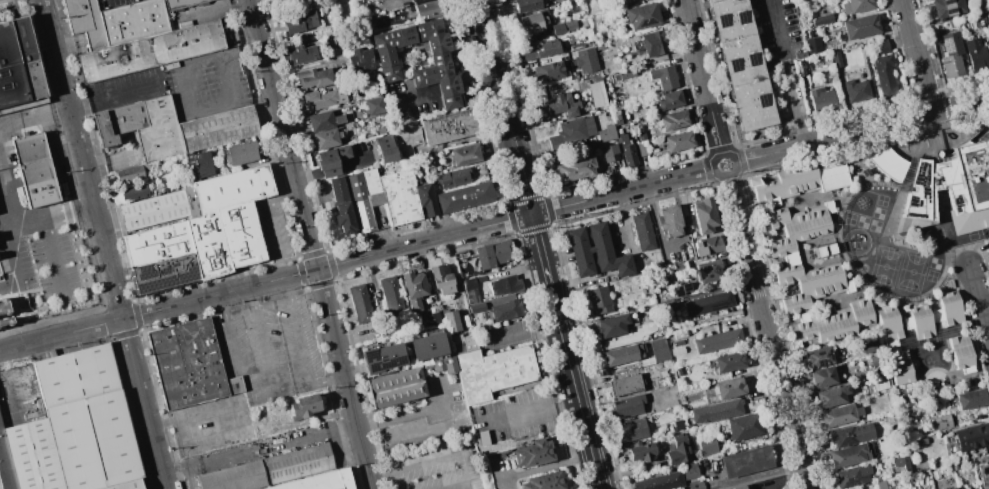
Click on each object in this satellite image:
building: (418, 1)
rooftop solar panel: (950, 3)
building: (182, 4)
building: (529, 4)
building: (982, 4)
building: (859, 6)
building: (948, 7)
building: (428, 9)
rooftop solar panel: (951, 9)
building: (988, 14)
building: (642, 15)
rooftop solar panel: (742, 15)
rooftop solar panel: (738, 17)
building: (823, 19)
building: (299, 20)
building: (535, 20)
rooftop solar panel: (722, 20)
building: (981, 20)
building: (85, 21)
building: (132, 21)
building: (862, 26)
building: (563, 27)
parking lot: (780, 30)
building: (653, 43)
building: (813, 45)
building: (882, 47)
building: (975, 48)
building: (539, 49)
building: (150, 50)
building: (300, 53)
road: (917, 56)
building: (439, 58)
rooftop solar panel: (752, 59)
building: (838, 59)
building: (360, 60)
building: (742, 63)
building: (18, 64)
building: (884, 64)
rooftop solar panel: (735, 65)
building: (952, 66)
building: (803, 67)
building: (547, 72)
road: (787, 72)
building: (627, 74)
road: (496, 75)
building: (616, 76)
building: (314, 77)
building: (664, 77)
road: (703, 77)
road: (187, 90)
building: (858, 90)
road: (114, 96)
building: (324, 98)
building: (669, 99)
building: (822, 99)
rooftop solar panel: (761, 101)
building: (561, 104)
building: (375, 105)
building: (621, 105)
building: (615, 114)
building: (674, 119)
building: (323, 120)
building: (142, 126)
building: (448, 126)
building: (217, 128)
road: (861, 130)
building: (571, 131)
building: (606, 132)
building: (641, 135)
building: (326, 138)
building: (678, 141)
building: (386, 148)
building: (626, 149)
building: (609, 152)
building: (241, 153)
building: (464, 155)
road: (733, 158)
building: (331, 160)
building: (428, 160)
building: (201, 163)
building: (888, 163)
building: (575, 168)
building: (34, 170)
building: (129, 173)
rooftop solar panel: (977, 174)
building: (908, 176)
building: (452, 177)
building: (833, 177)
building: (370, 181)
road: (523, 182)
building: (783, 184)
building: (356, 186)
building: (954, 188)
building: (338, 190)
building: (136, 191)
building: (399, 196)
building: (464, 196)
building: (374, 198)
building: (425, 198)
traffic signals: (532, 214)
building: (363, 215)
building: (704, 215)
building: (344, 217)
road: (50, 219)
building: (669, 220)
road: (499, 222)
road: (272, 223)
building: (194, 230)
building: (643, 230)
road: (674, 241)
road: (104, 244)
road: (311, 244)
building: (707, 245)
road: (541, 248)
building: (824, 249)
building: (595, 252)
building: (492, 253)
building: (790, 255)
road: (12, 257)
road: (56, 257)
rooftop solar panel: (176, 265)
building: (678, 267)
park: (886, 267)
building: (707, 270)
rooftop solar panel: (165, 271)
rooftop solar panel: (145, 272)
park: (913, 272)
building: (441, 278)
rooftop solar panel: (167, 283)
building: (504, 285)
building: (681, 288)
building: (414, 289)
road: (288, 290)
building: (470, 290)
building: (390, 294)
road: (252, 298)
building: (599, 299)
road: (979, 300)
building: (360, 302)
building: (708, 303)
road: (222, 307)
building: (476, 307)
building: (950, 307)
building: (506, 310)
building: (4, 312)
road: (142, 314)
building: (936, 316)
building: (451, 321)
building: (831, 322)
building: (920, 322)
building: (665, 324)
building: (890, 324)
building: (611, 325)
road: (521, 331)
road: (769, 331)
road: (263, 337)
building: (718, 340)
building: (469, 342)
building: (457, 343)
building: (868, 343)
road: (301, 344)
building: (427, 347)
building: (677, 350)
building: (656, 352)
building: (961, 353)
building: (623, 354)
rooftop solar panel: (369, 355)
building: (820, 355)
building: (382, 358)
building: (874, 360)
road: (237, 361)
building: (729, 361)
building: (190, 364)
building: (441, 364)
rooftop solar panel: (386, 365)
building: (901, 366)
building: (493, 371)
building: (678, 371)
building: (76, 373)
building: (822, 376)
road: (274, 379)
building: (879, 381)
road: (328, 383)
building: (625, 385)
road: (575, 386)
building: (395, 387)
building: (729, 388)
building: (831, 395)
building: (969, 398)
building: (303, 406)
building: (627, 406)
building: (718, 410)
road: (194, 413)
road: (529, 413)
road: (446, 414)
building: (840, 414)
building: (943, 421)
building: (678, 424)
building: (743, 426)
building: (631, 429)
building: (850, 434)
building: (972, 436)
building: (94, 441)
building: (707, 446)
road: (260, 448)
building: (677, 450)
building: (641, 451)
building: (533, 453)
building: (848, 454)
building: (33, 455)
road: (437, 457)
building: (745, 461)
building: (901, 462)
building: (300, 463)
building: (6, 464)
building: (920, 465)
road: (545, 466)
building: (954, 466)
building: (689, 470)
building: (935, 474)
building: (852, 475)
building: (983, 475)
building: (235, 478)
building: (544, 481)
building: (660, 481)
building: (312, 482)
rooftop solar panel: (851, 483)
building: (695, 484)
building: (129, 485)
building: (738, 487)
building: (852, 488)
building: (951, 488)

